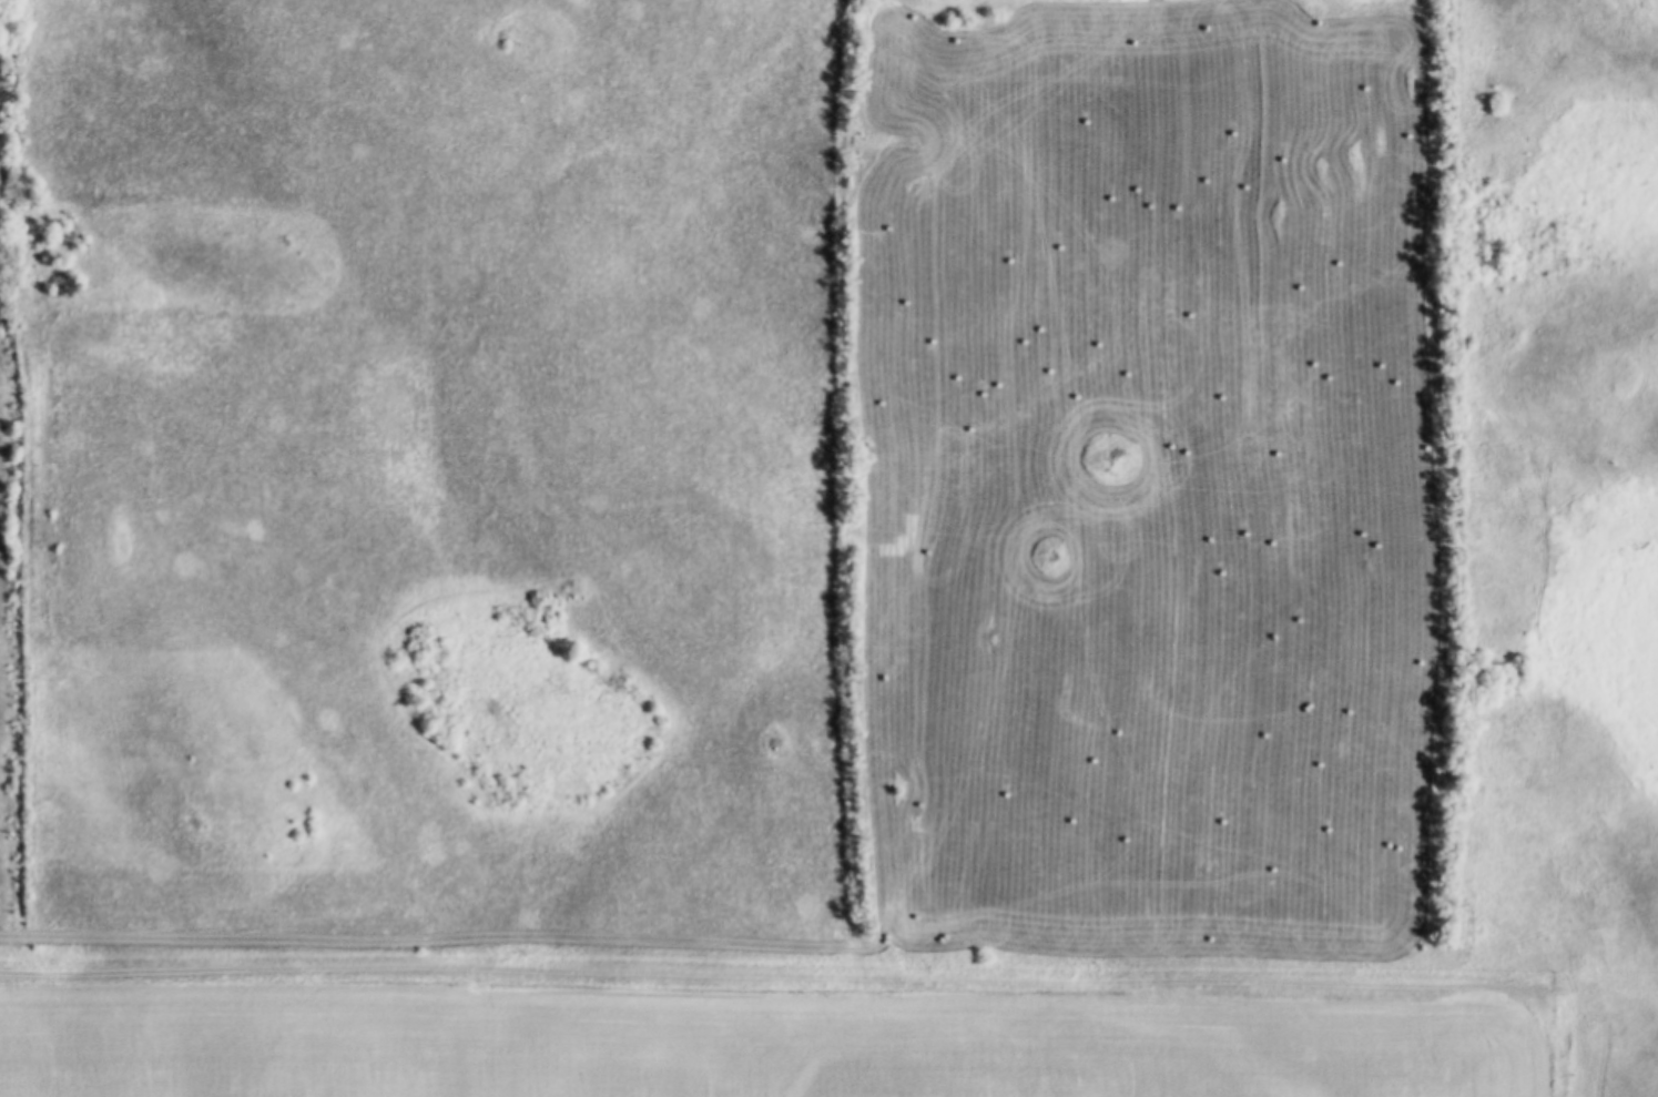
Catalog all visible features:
road: (296, 973)

